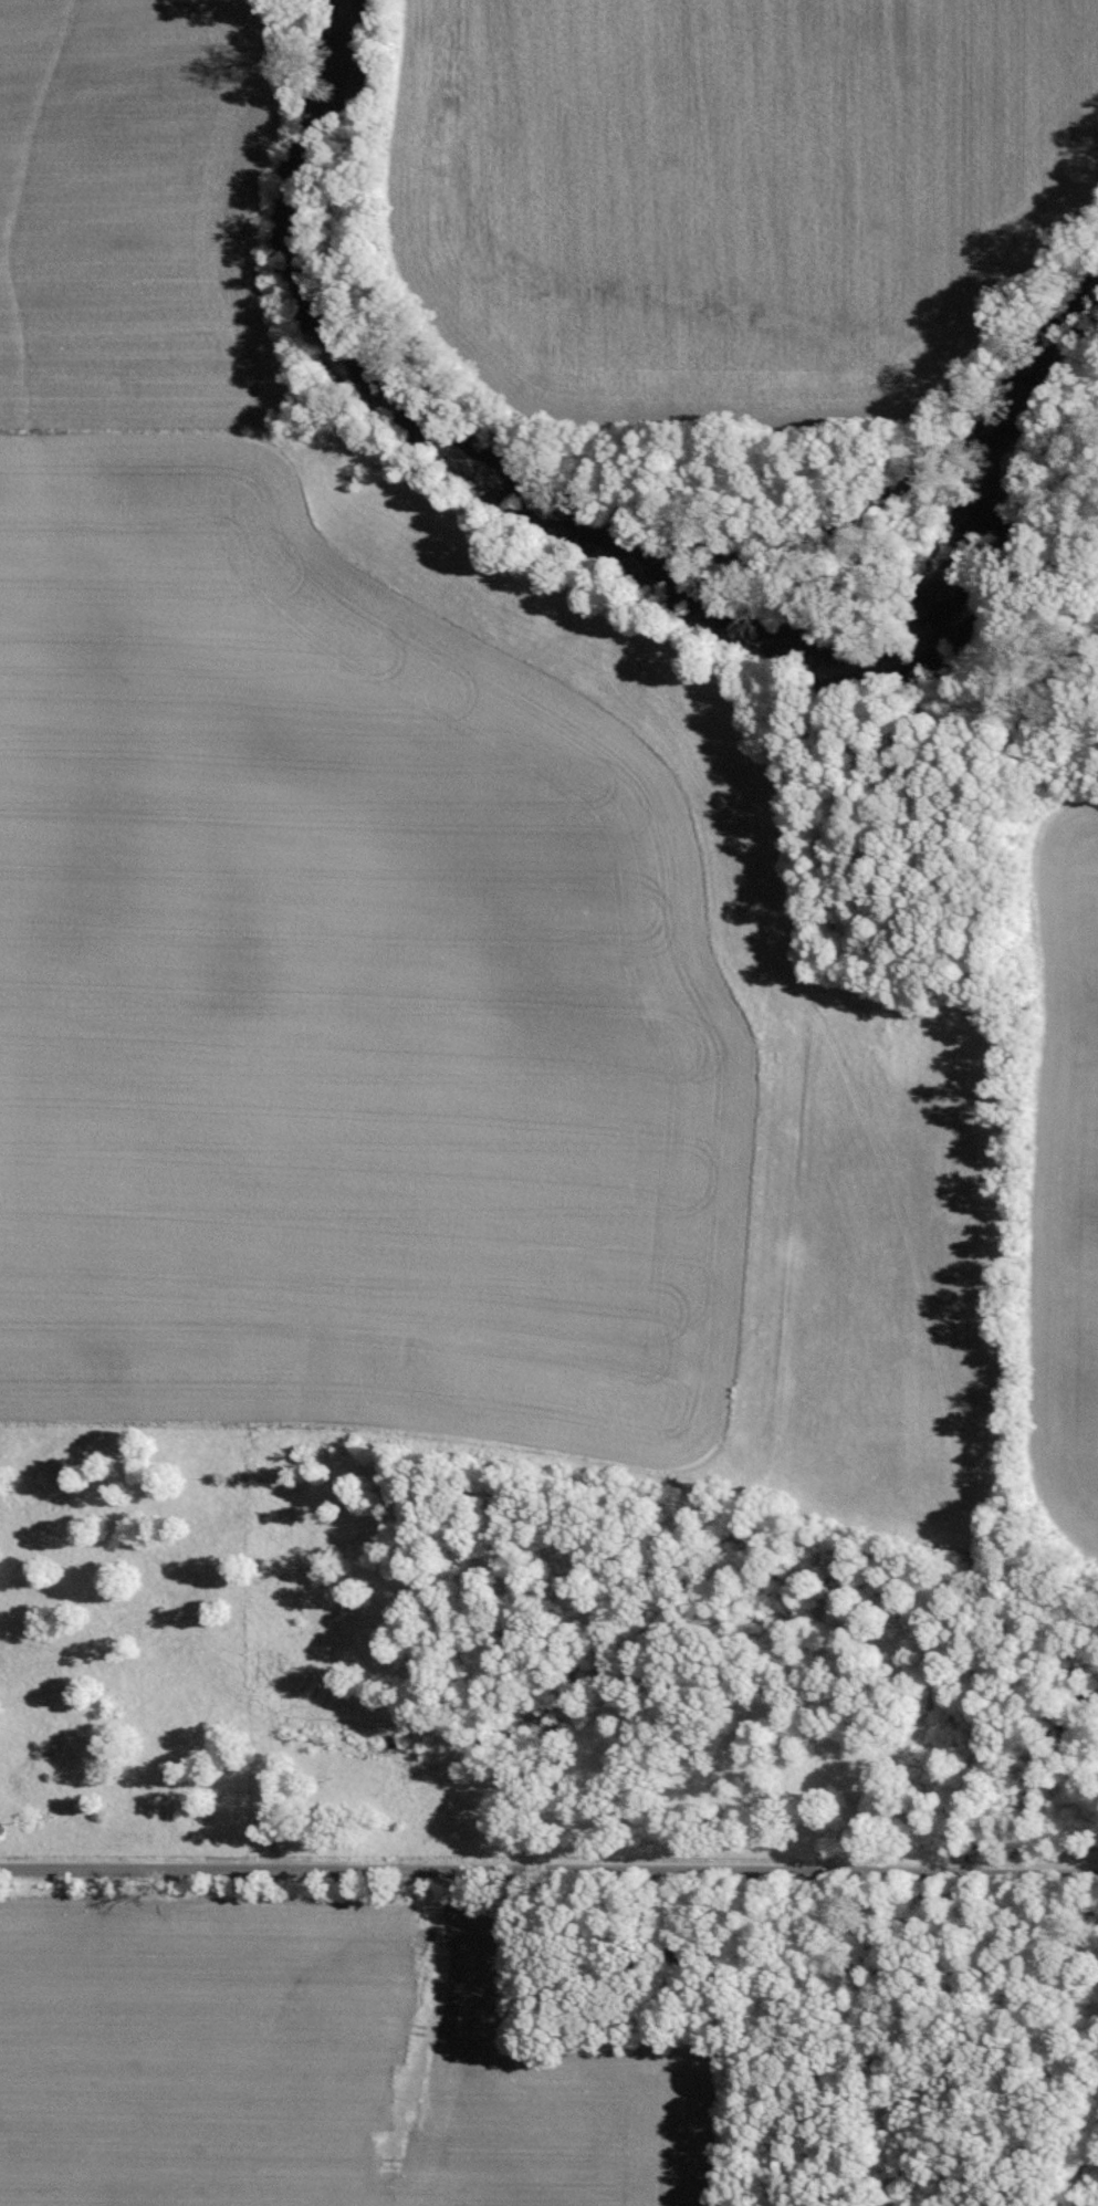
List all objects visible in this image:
road: (548, 1870)

